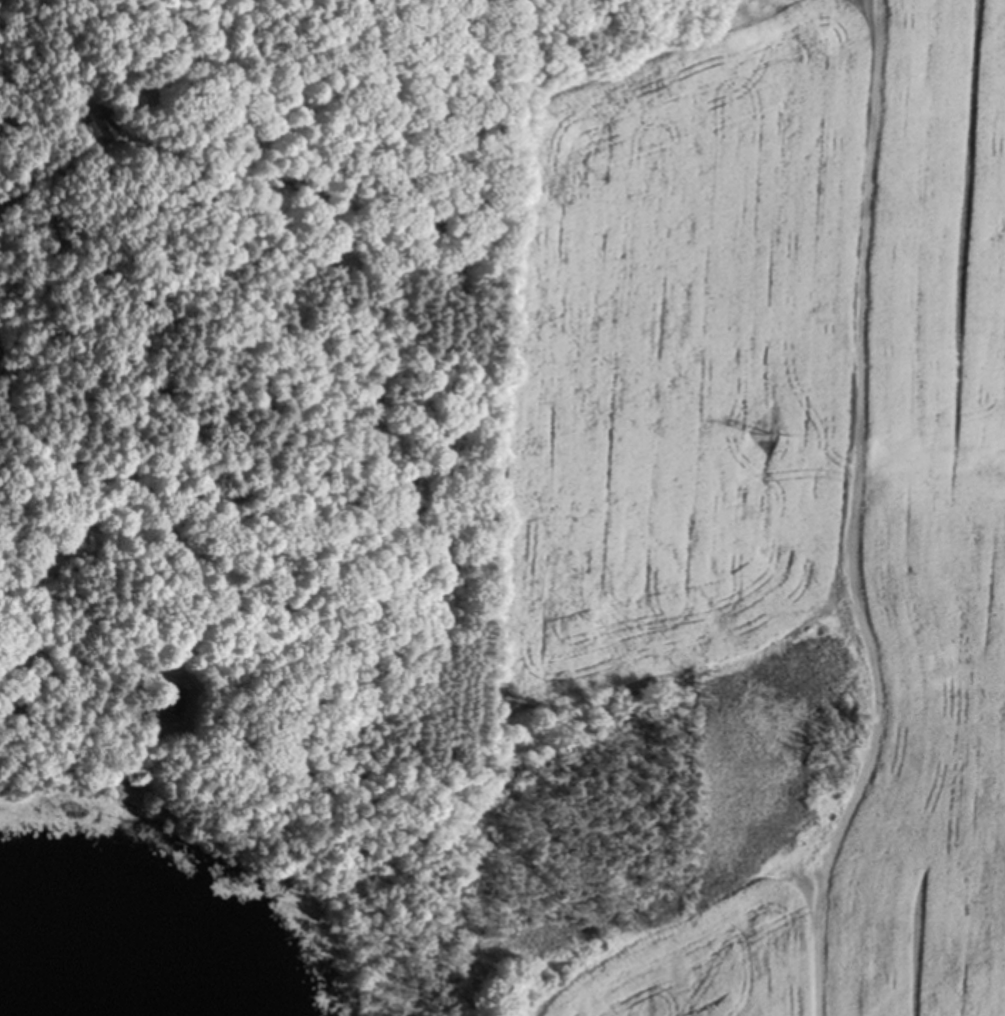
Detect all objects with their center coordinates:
building: (97, 119)
power tower: (759, 429)
building: (172, 693)

